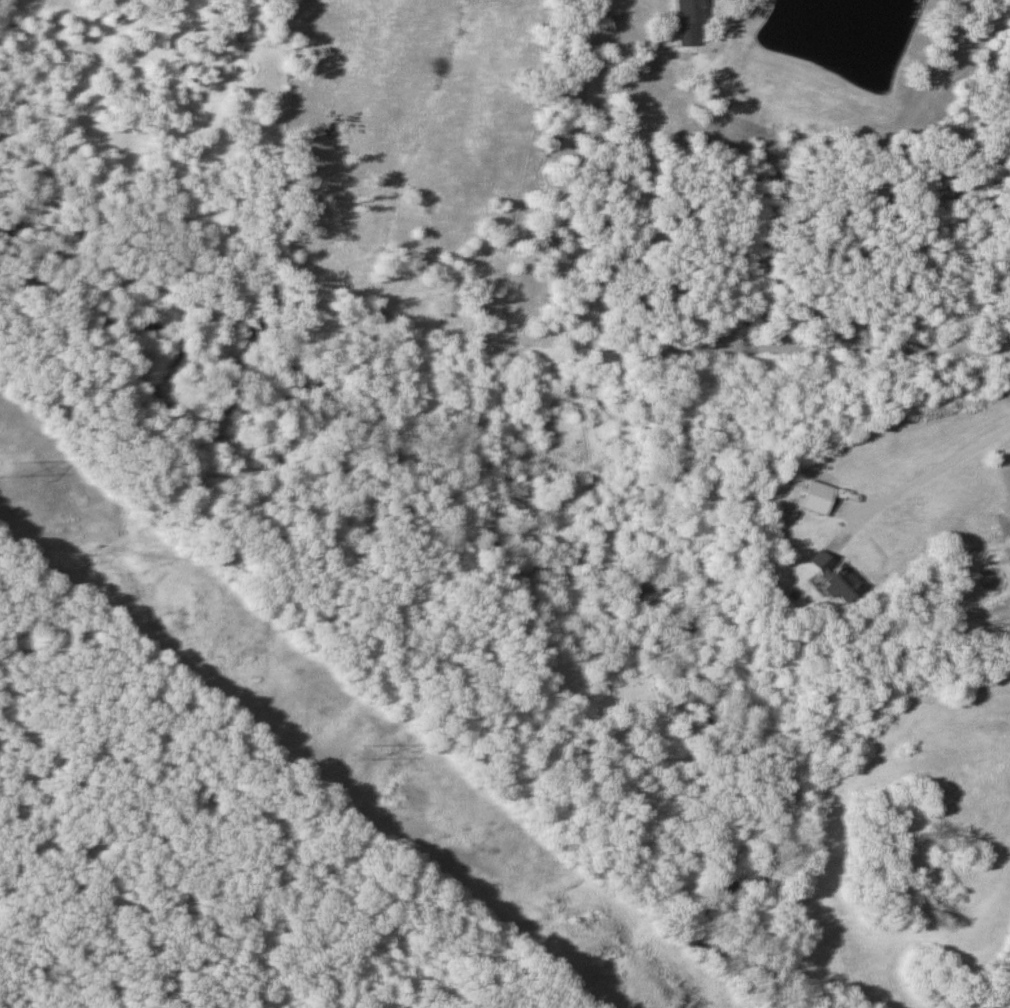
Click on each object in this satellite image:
building: (683, 23)
power tower: (1, 468)
road: (920, 475)
building: (807, 497)
building: (828, 576)
power tower: (355, 753)

